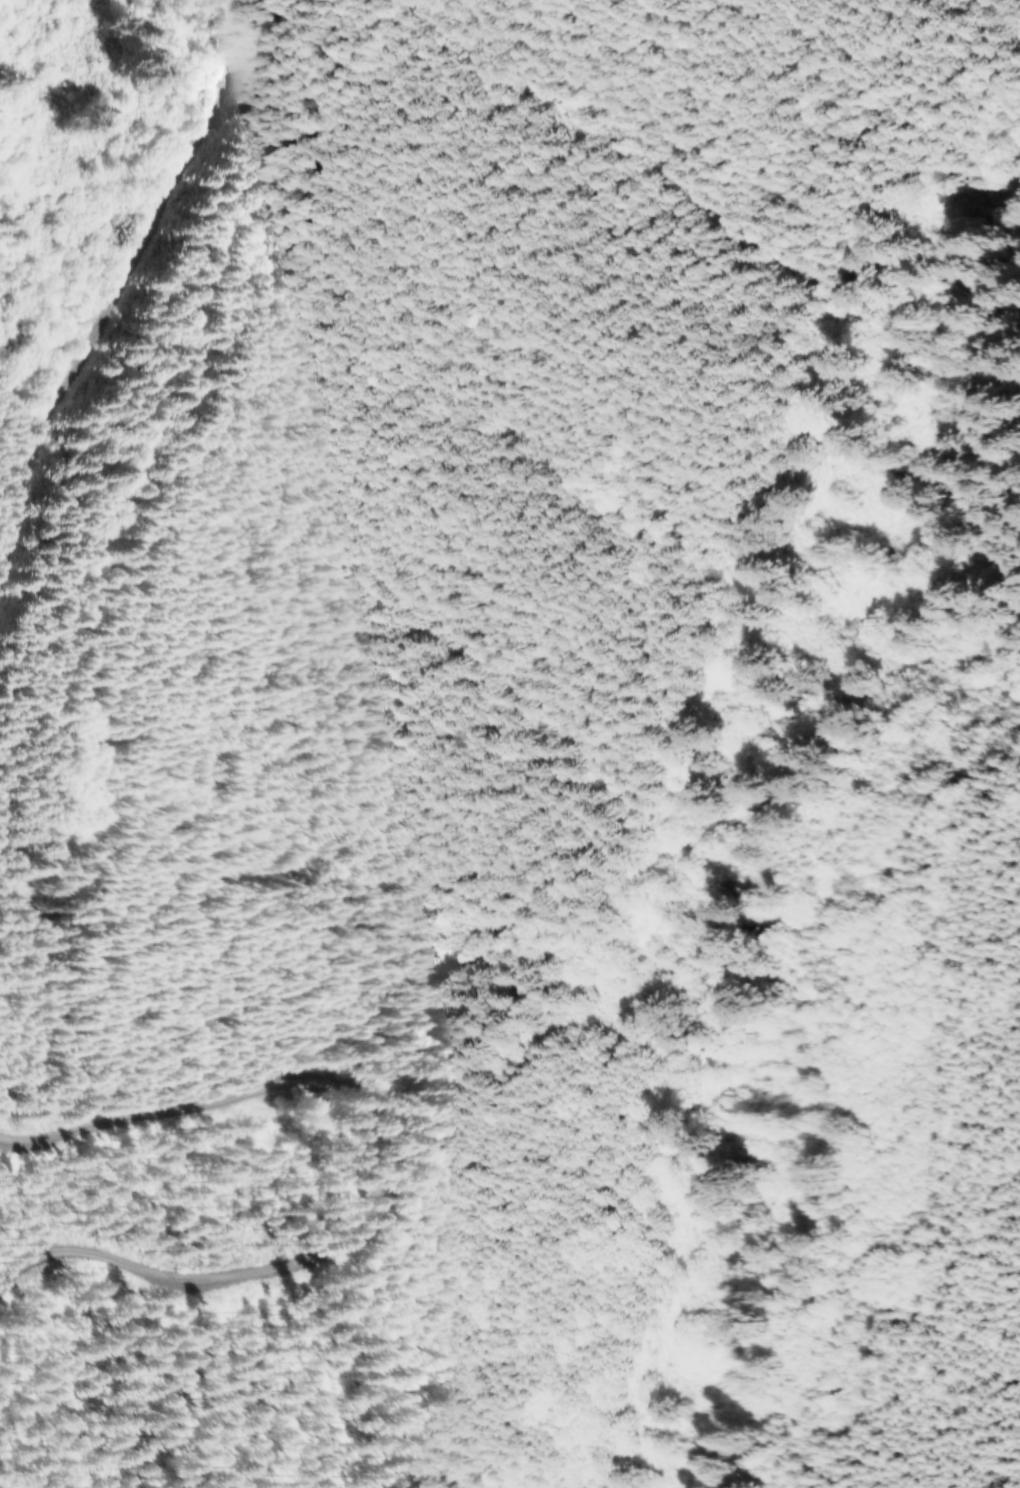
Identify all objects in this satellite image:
road: (117, 284)
road: (366, 1164)

